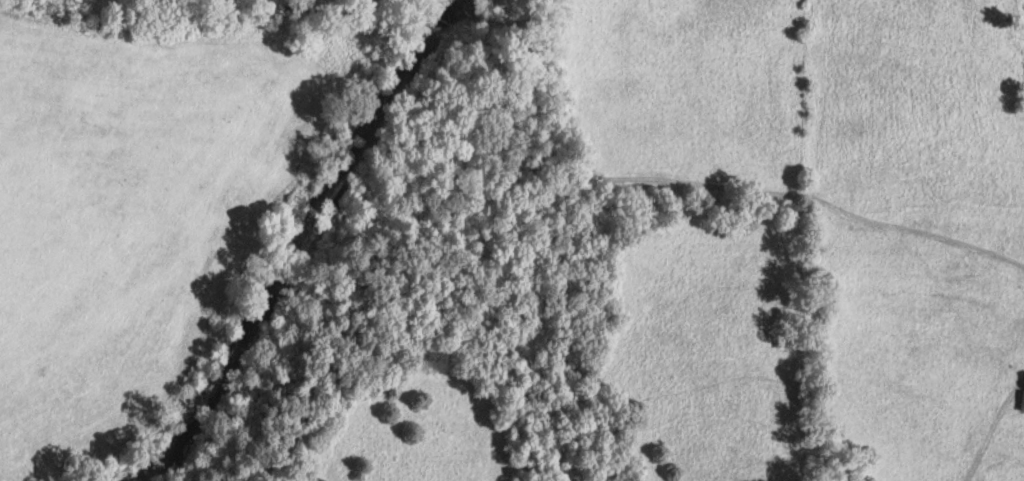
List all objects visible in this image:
road: (511, 197)
building: (1021, 403)

